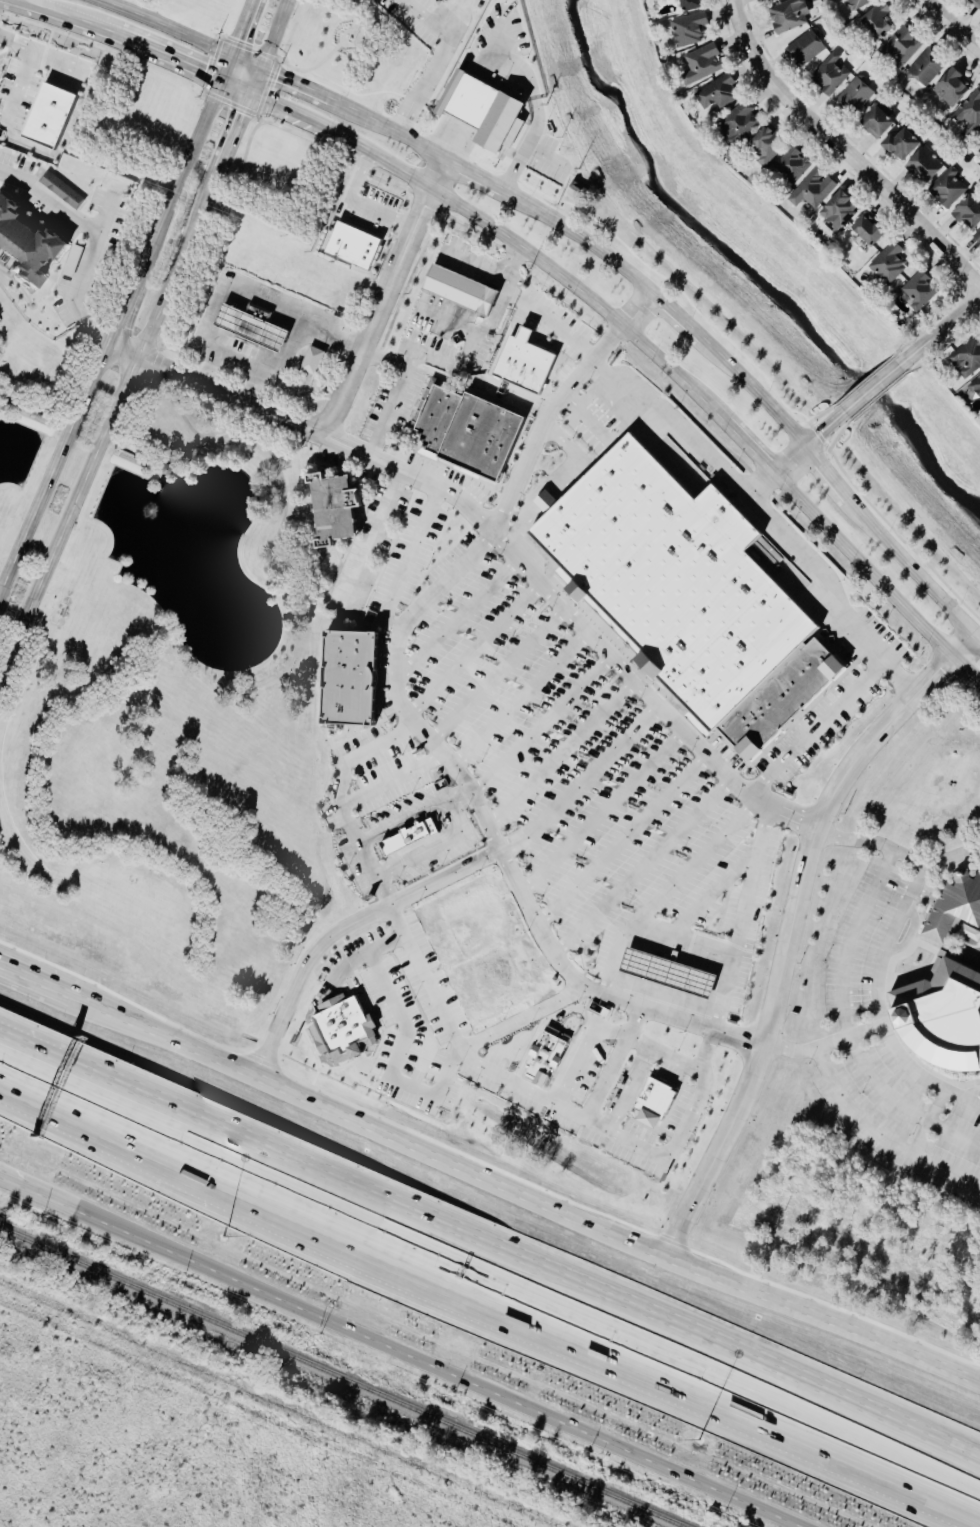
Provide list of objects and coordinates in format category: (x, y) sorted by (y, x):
building: (438, 0)
building: (442, 0)
building: (860, 3)
building: (976, 3)
building: (692, 5)
building: (791, 14)
road: (42, 15)
building: (879, 21)
road: (951, 26)
road: (240, 28)
building: (690, 28)
road: (178, 34)
road: (118, 42)
building: (904, 46)
road: (267, 48)
building: (807, 48)
traffic signals: (231, 56)
building: (704, 63)
road: (426, 66)
building: (928, 67)
traffic signals: (260, 69)
road: (186, 70)
building: (831, 73)
road: (21, 76)
traffic signals: (221, 84)
road: (293, 85)
building: (953, 88)
building: (719, 93)
building: (856, 96)
traffic signals: (249, 97)
road: (519, 106)
building: (486, 111)
building: (970, 115)
building: (49, 116)
building: (741, 122)
building: (879, 122)
road: (387, 130)
road: (234, 132)
building: (904, 145)
road: (843, 152)
building: (928, 165)
road: (184, 171)
road: (441, 174)
road: (476, 175)
building: (949, 187)
building: (814, 189)
building: (62, 190)
road: (356, 205)
building: (840, 211)
building: (970, 213)
road: (492, 226)
building: (870, 231)
building: (977, 235)
road: (96, 238)
road: (579, 238)
building: (26, 244)
building: (354, 246)
road: (509, 260)
building: (889, 263)
building: (460, 289)
building: (921, 290)
road: (255, 301)
road: (523, 301)
road: (636, 308)
road: (676, 314)
road: (121, 316)
building: (249, 329)
road: (477, 331)
road: (942, 331)
building: (968, 358)
building: (312, 360)
road: (265, 361)
road: (444, 362)
building: (522, 362)
building: (976, 386)
road: (873, 389)
road: (755, 392)
road: (396, 396)
road: (335, 417)
road: (544, 419)
road: (110, 423)
road: (826, 431)
building: (466, 432)
road: (751, 450)
road: (792, 461)
road: (381, 467)
road: (830, 471)
road: (54, 472)
road: (761, 488)
building: (548, 501)
building: (337, 507)
fountain: (150, 510)
road: (759, 513)
road: (370, 544)
road: (403, 560)
road: (912, 564)
road: (876, 577)
building: (674, 581)
road: (457, 620)
road: (976, 637)
road: (475, 650)
road: (497, 675)
building: (352, 677)
road: (631, 679)
building: (782, 697)
road: (520, 700)
road: (541, 727)
road: (814, 729)
road: (560, 755)
road: (392, 778)
road: (342, 797)
building: (538, 801)
road: (602, 813)
road: (404, 818)
road: (487, 829)
building: (408, 837)
road: (622, 841)
road: (447, 843)
road: (897, 854)
road: (642, 869)
road: (692, 869)
road: (434, 879)
road: (711, 897)
road: (458, 907)
building: (955, 908)
road: (741, 919)
road: (790, 930)
building: (971, 932)
road: (650, 936)
building: (668, 973)
gas station: (668, 973)
road: (25, 984)
road: (60, 999)
road: (842, 1000)
road: (878, 1008)
building: (945, 1015)
road: (523, 1019)
building: (343, 1028)
road: (612, 1031)
road: (400, 1041)
road: (821, 1046)
building: (544, 1058)
road: (681, 1063)
road: (576, 1064)
road: (503, 1076)
road: (624, 1088)
building: (653, 1102)
road: (854, 1111)
road: (941, 1126)
road: (921, 1138)
road: (665, 1151)
road: (946, 1172)
road: (13, 1173)
road: (523, 1198)
road: (491, 1241)
road: (490, 1293)
road: (425, 1352)
railway: (340, 1378)

